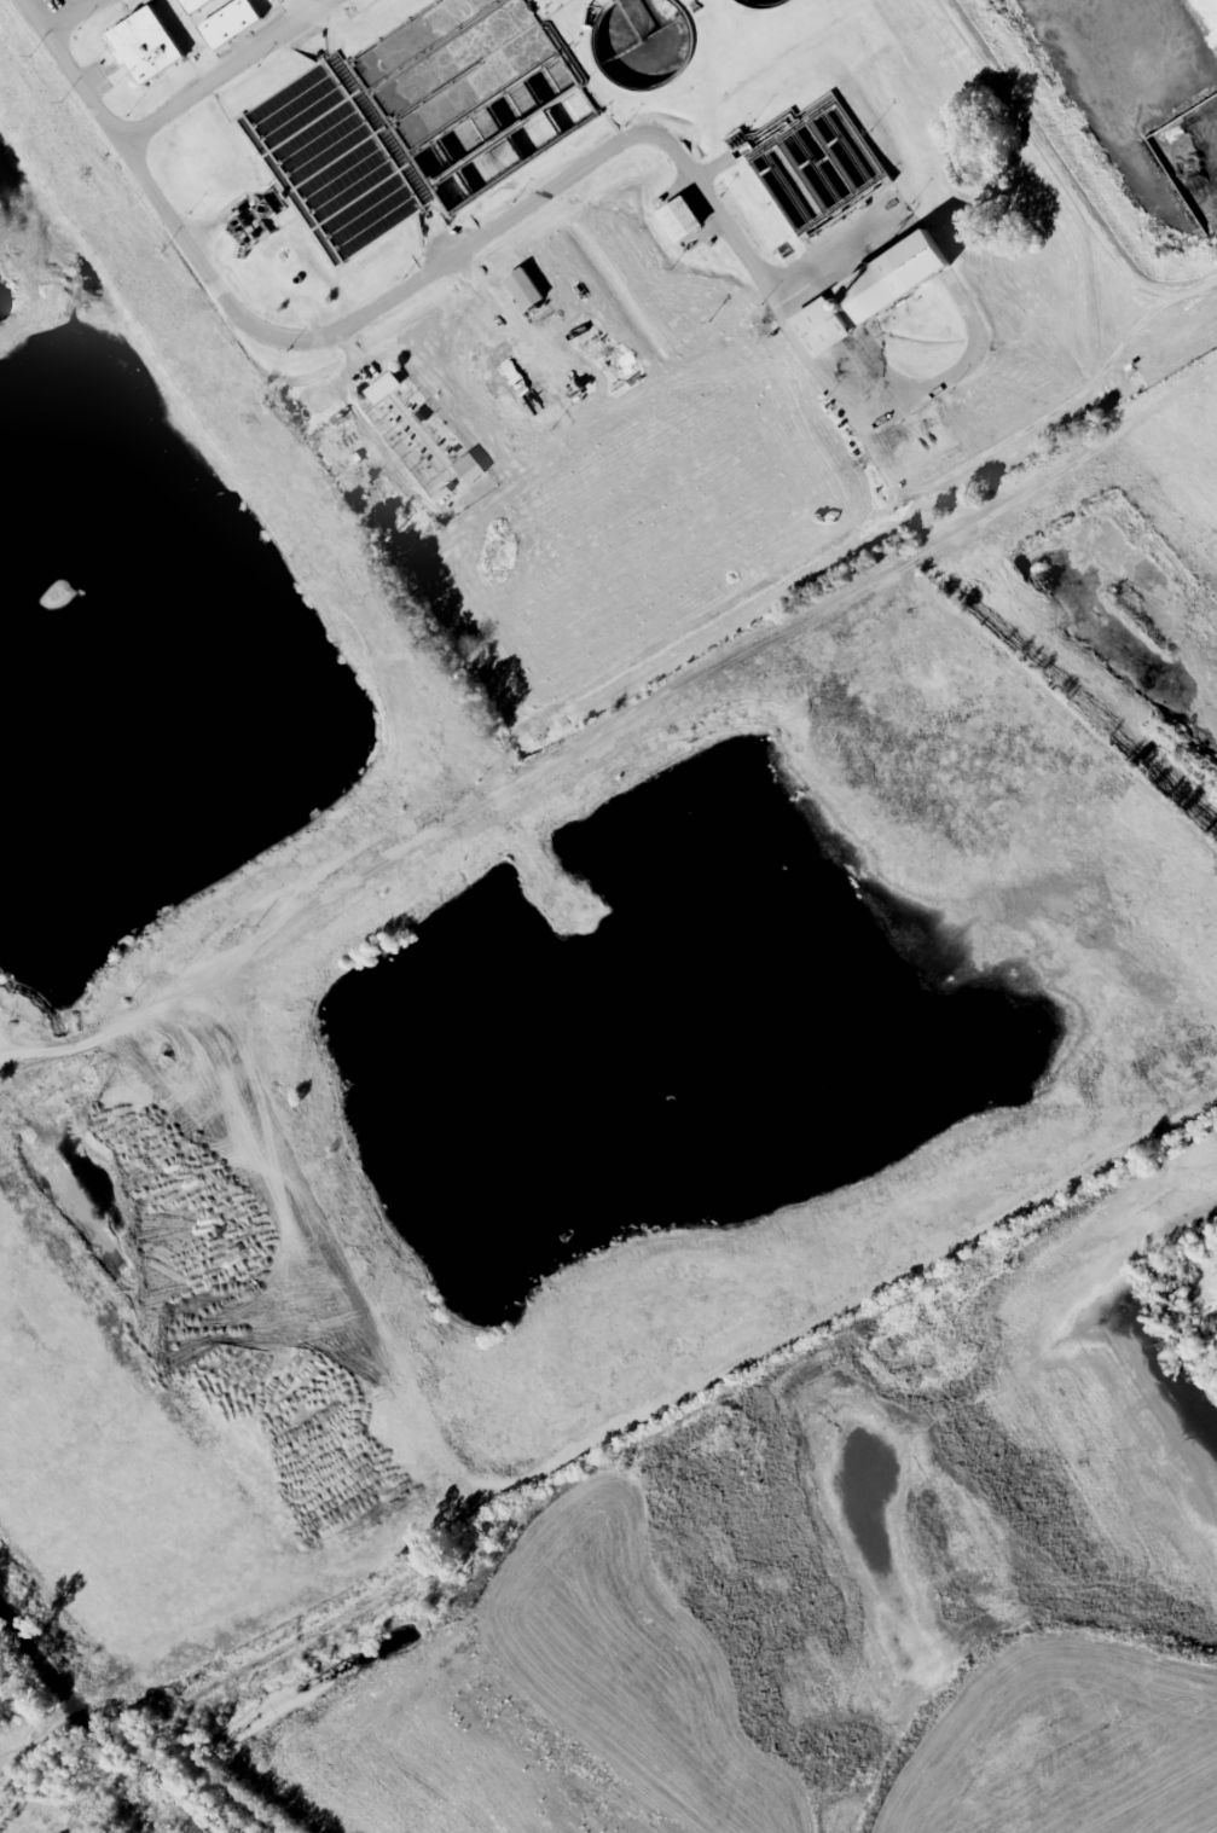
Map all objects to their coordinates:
building: (272, 0)
building: (765, 4)
building: (193, 5)
building: (228, 24)
building: (639, 43)
building: (144, 47)
road: (162, 129)
building: (465, 150)
building: (813, 164)
building: (679, 221)
building: (894, 279)
building: (523, 290)
wastewater plant: (620, 291)
building: (821, 329)
building: (383, 389)

